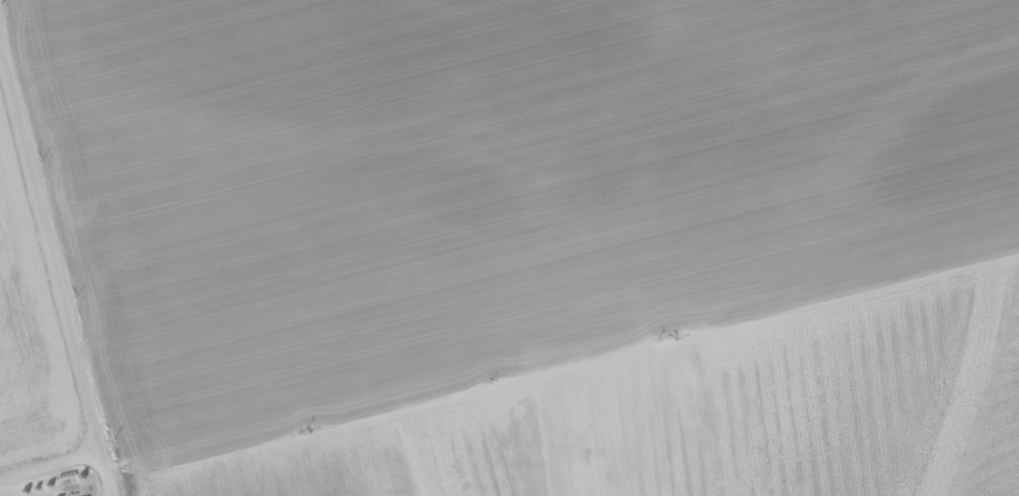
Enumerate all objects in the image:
road: (53, 293)
road: (354, 406)
road: (34, 472)

